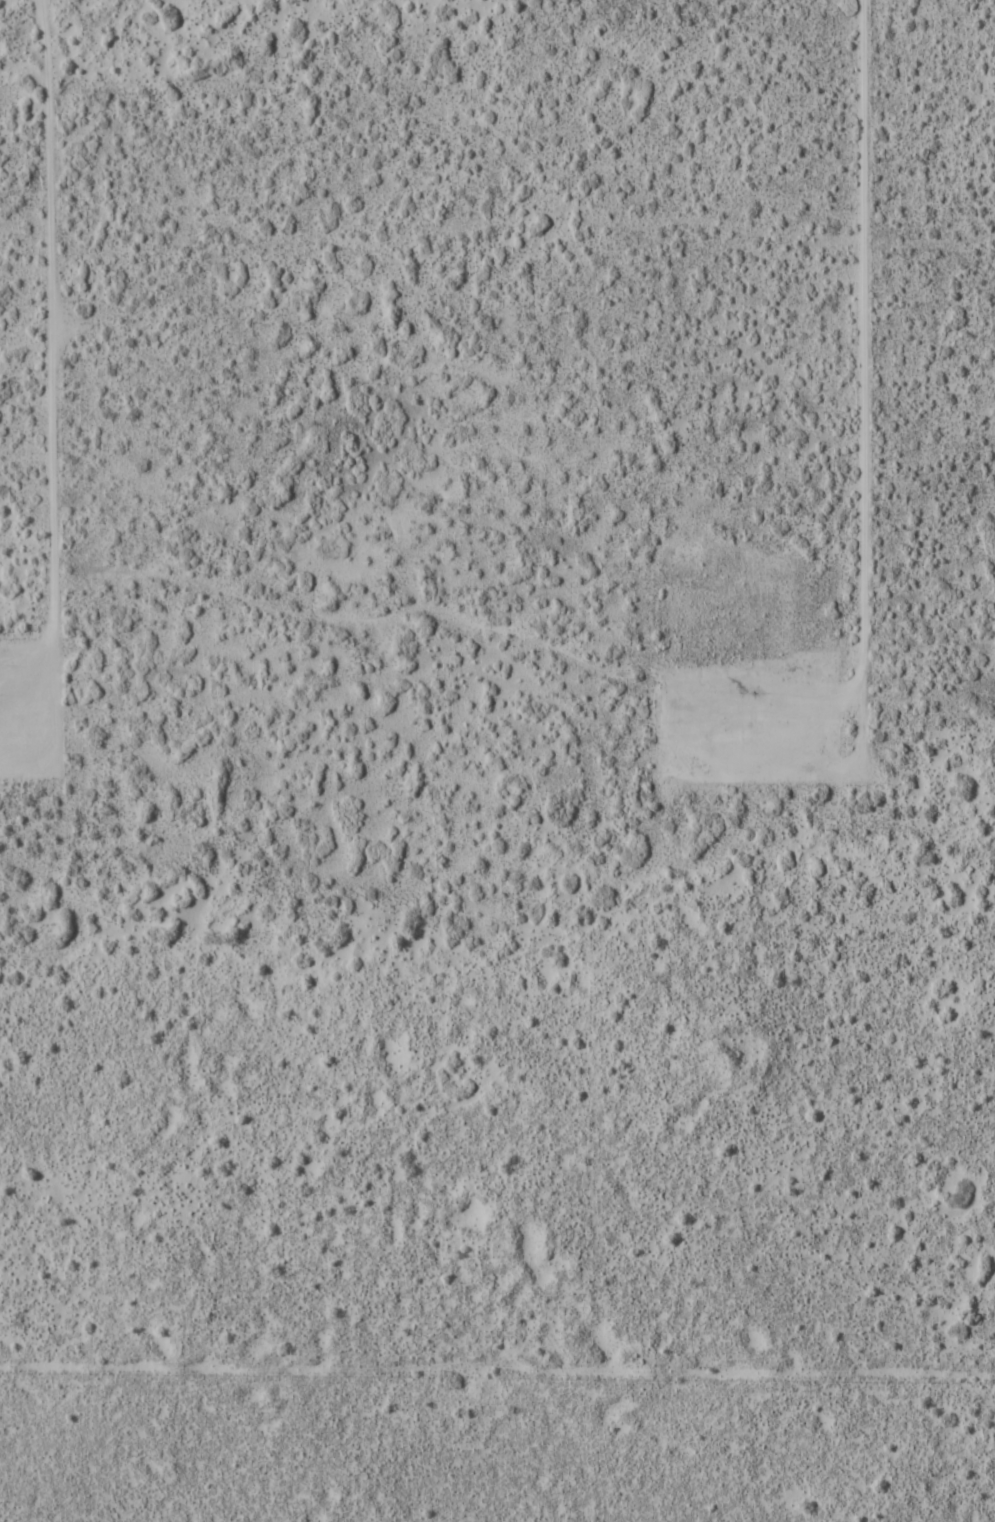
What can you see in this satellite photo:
road: (53, 344)
road: (875, 362)
petroleum well: (755, 693)

